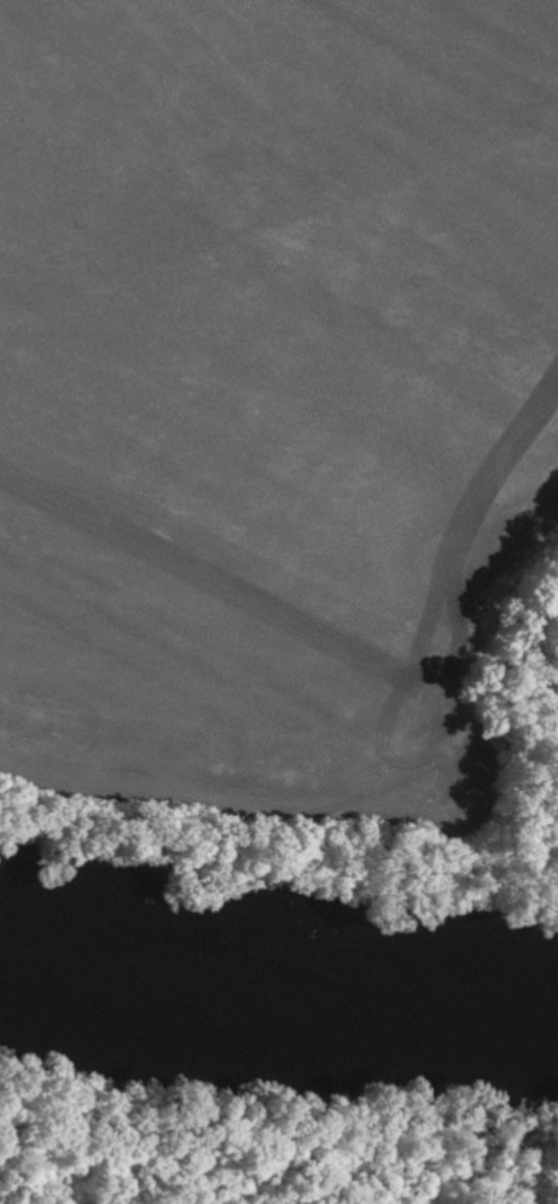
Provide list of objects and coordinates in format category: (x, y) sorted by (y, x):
river: (279, 962)

